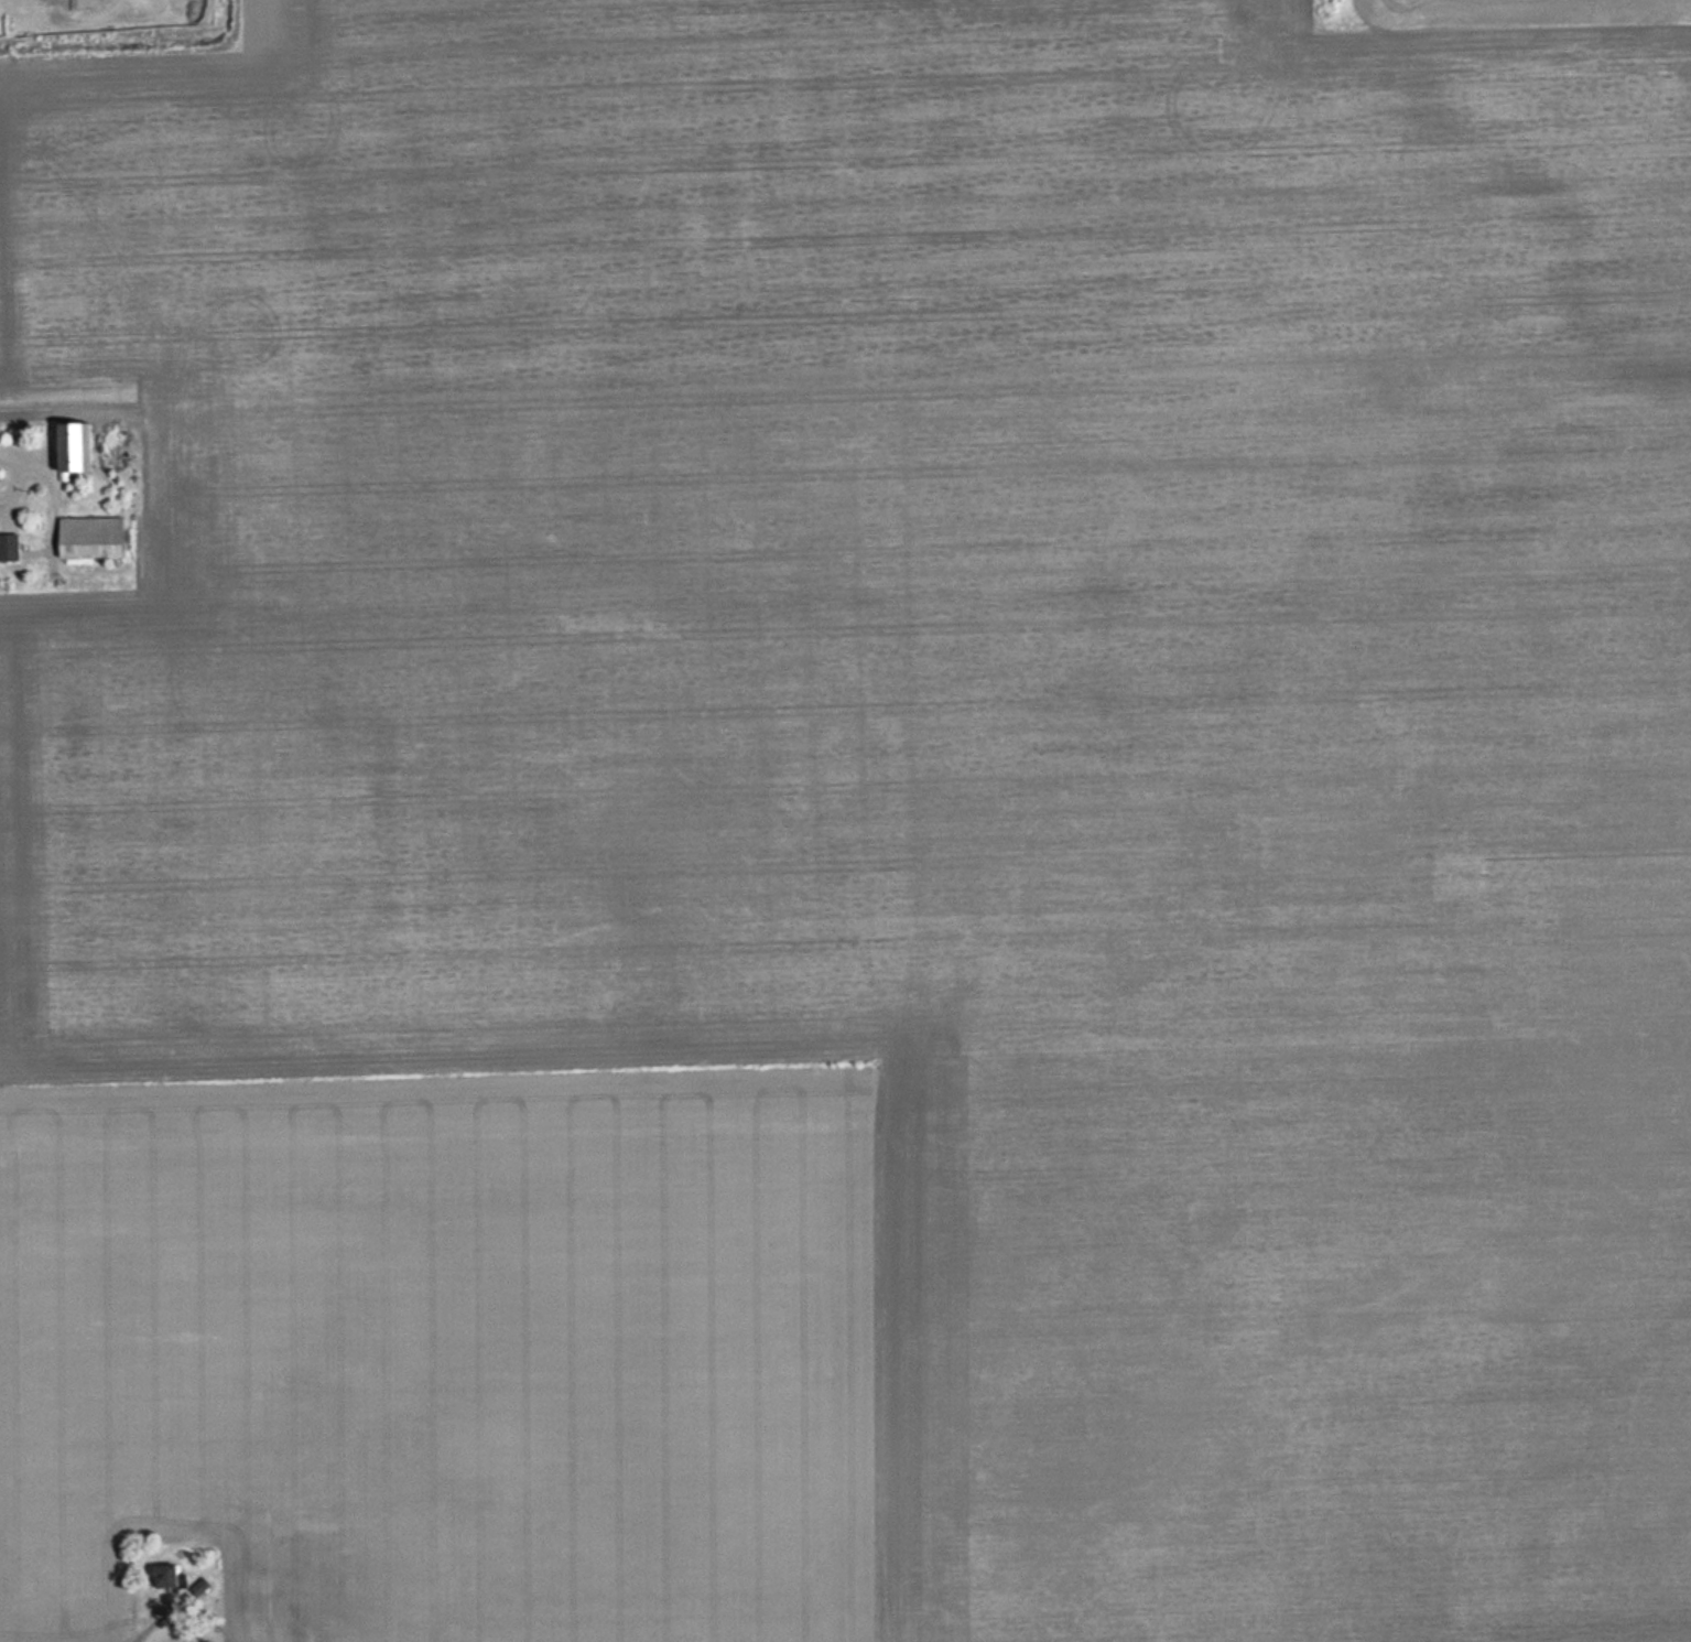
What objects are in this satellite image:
building: (76, 449)
building: (91, 538)
building: (9, 548)
building: (166, 1576)

